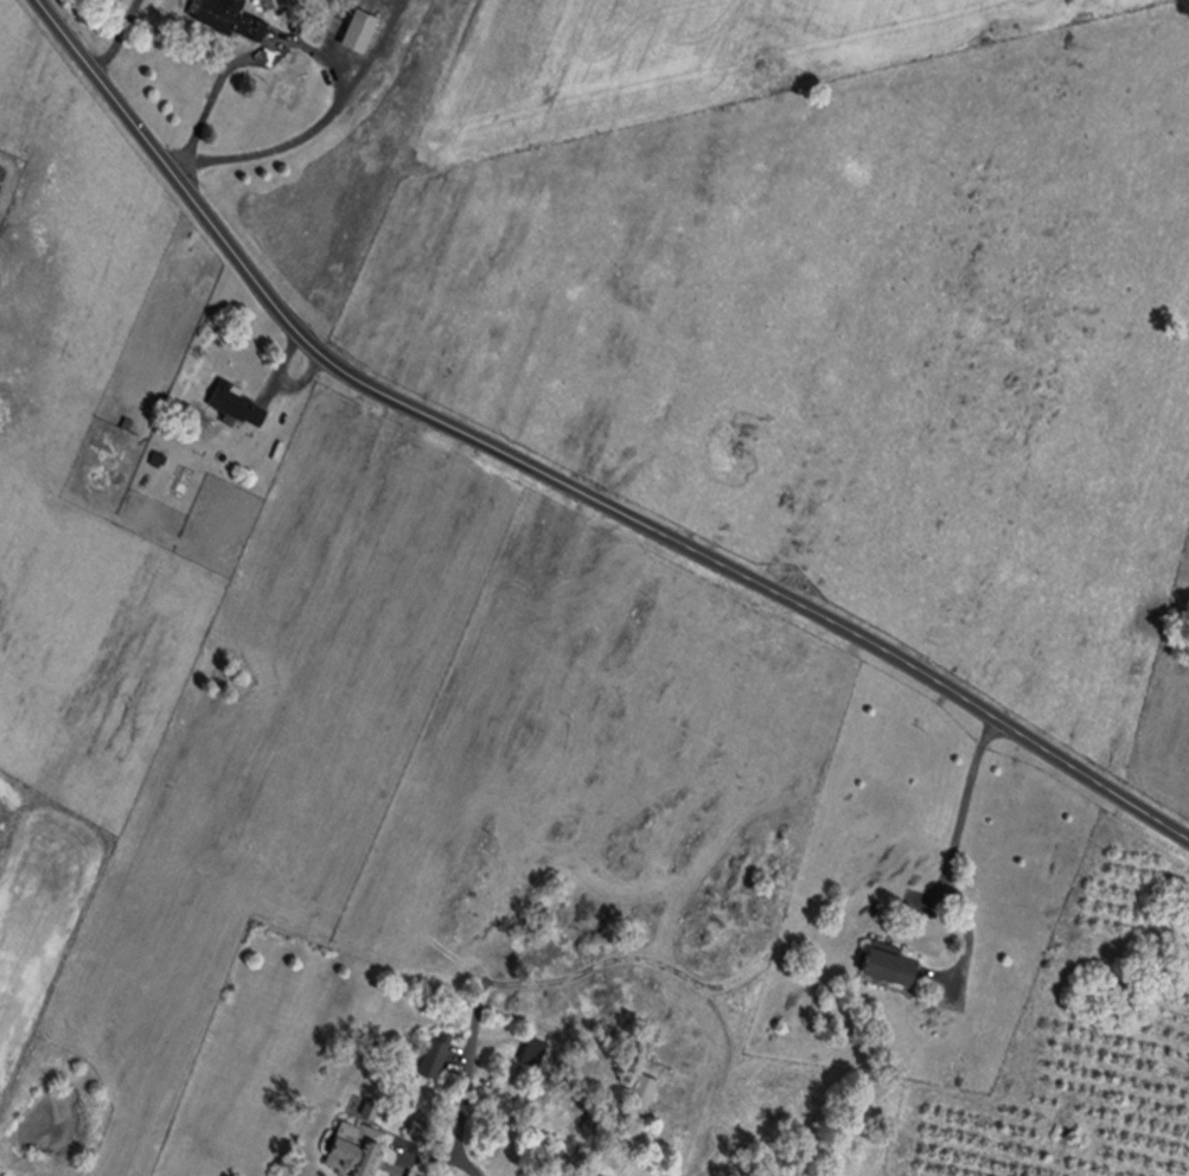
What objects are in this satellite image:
road: (218, 90)
road: (308, 134)
road: (562, 478)
road: (966, 806)
road: (440, 1155)

